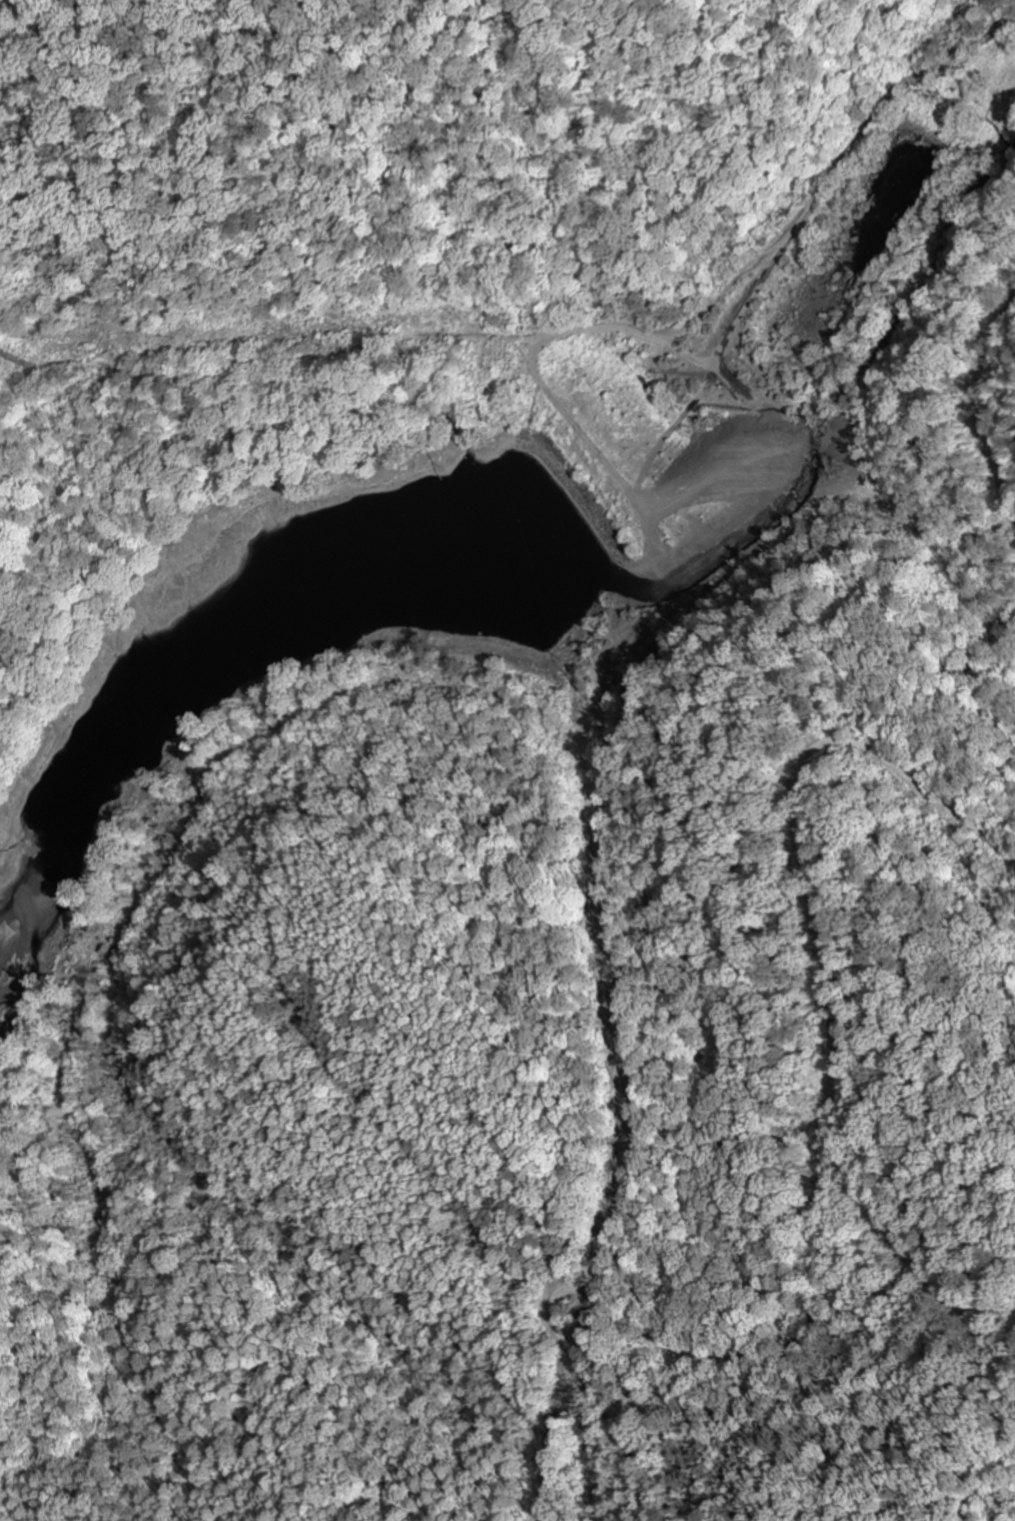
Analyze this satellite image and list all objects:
dam: (607, 515)

